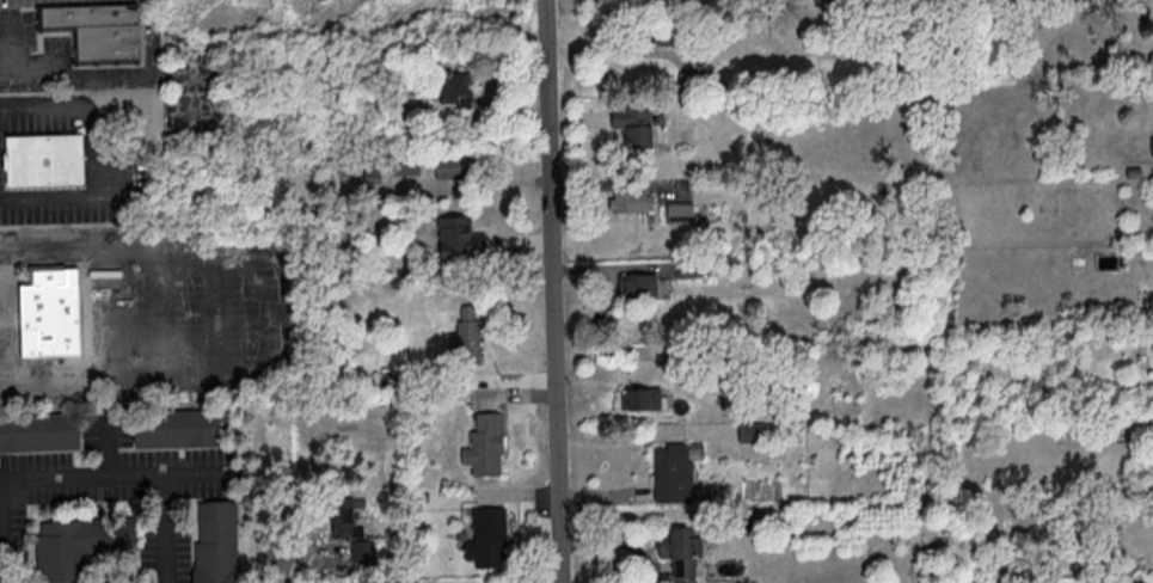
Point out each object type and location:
building: (100, 31)
building: (660, 36)
road: (94, 72)
building: (454, 87)
building: (630, 127)
building: (1152, 143)
road: (92, 153)
building: (42, 161)
building: (407, 165)
building: (449, 166)
building: (372, 172)
building: (630, 198)
building: (680, 213)
building: (459, 238)
building: (640, 239)
building: (687, 268)
building: (636, 284)
road: (550, 290)
road: (262, 309)
building: (47, 315)
building: (464, 340)
building: (643, 398)
building: (177, 428)
building: (42, 431)
building: (483, 444)
building: (670, 473)
road: (85, 474)
building: (342, 518)
building: (485, 536)
building: (215, 542)
building: (76, 545)
building: (680, 550)
building: (361, 551)

